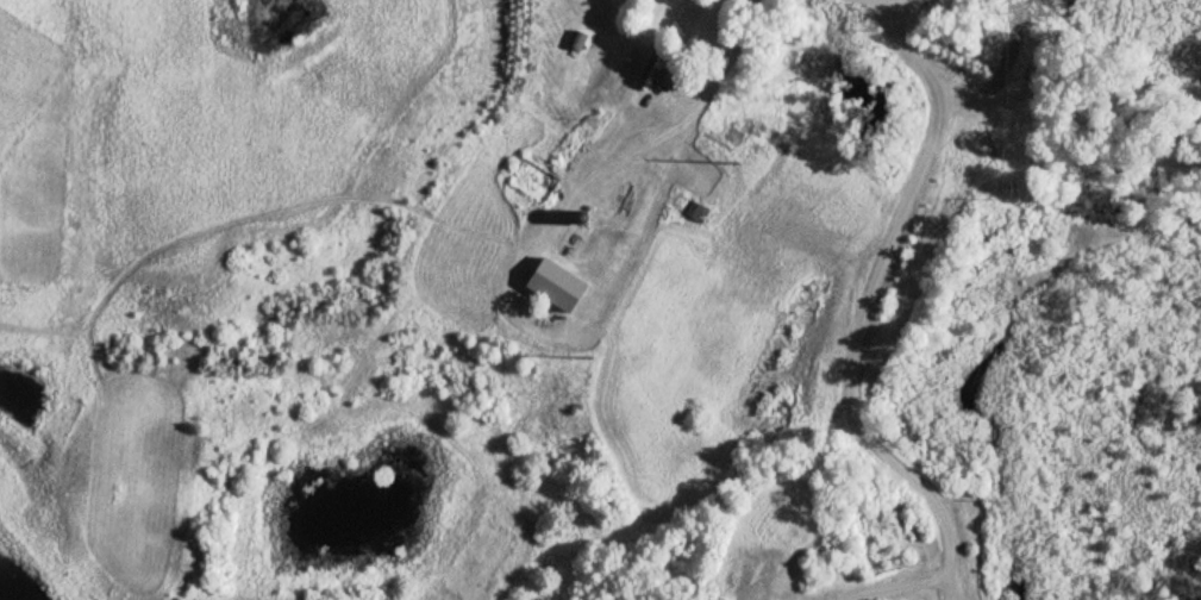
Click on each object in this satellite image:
power tower: (1006, 13)
building: (658, 74)
power tower: (734, 164)
building: (689, 211)
building: (555, 287)
road: (851, 330)
power tower: (592, 360)

